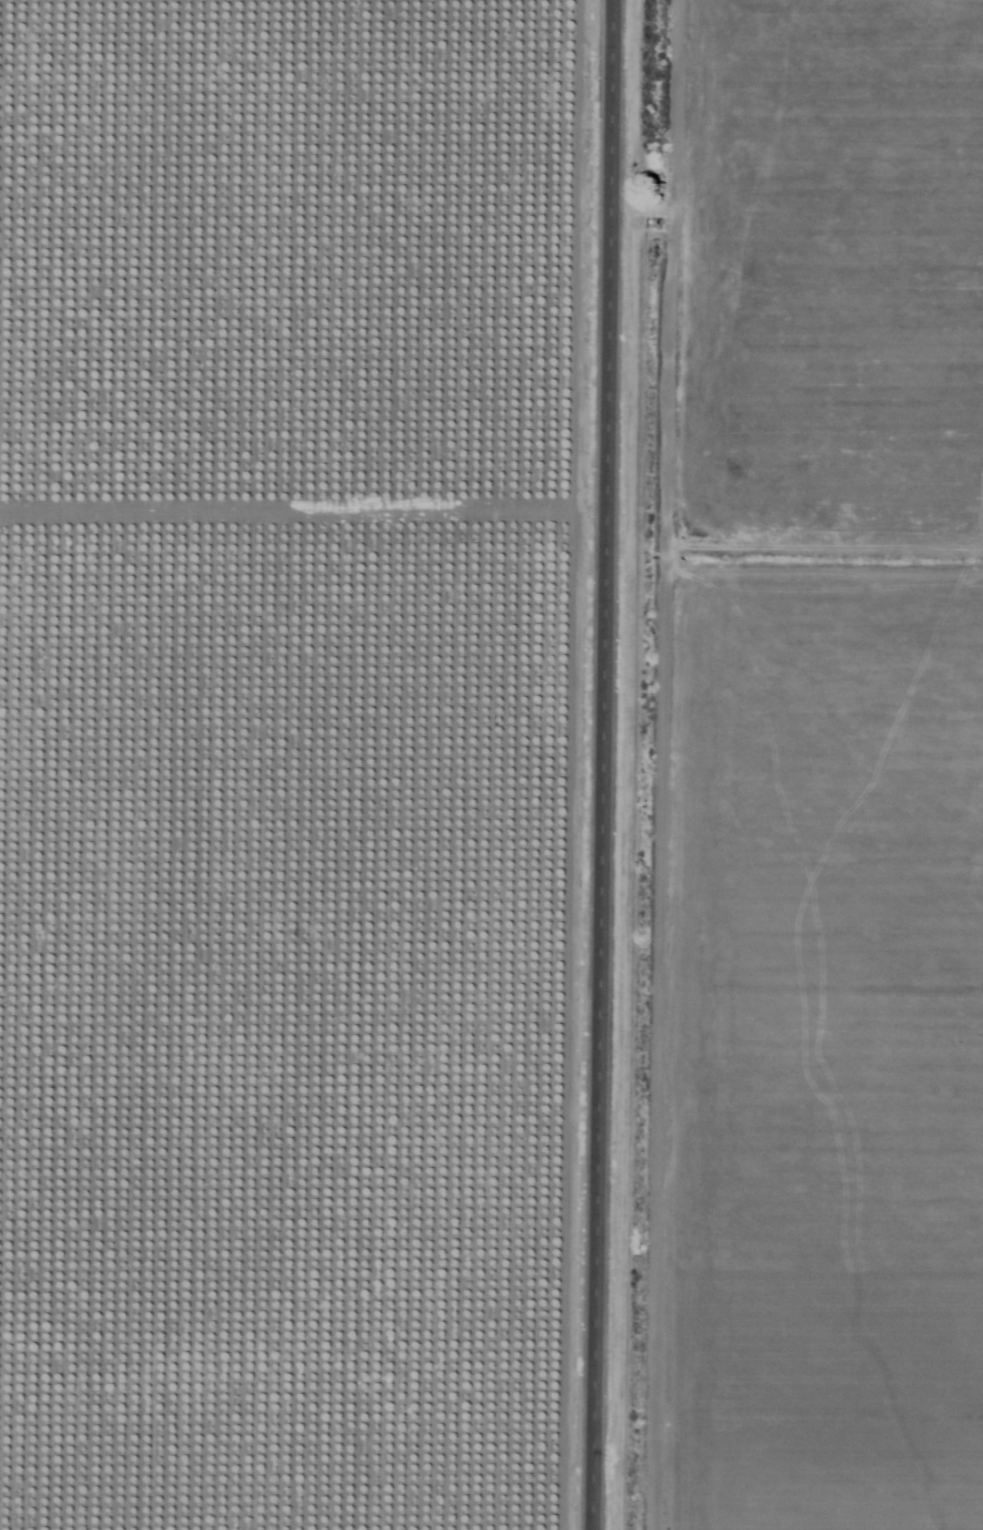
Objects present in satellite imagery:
crop: (294, 760)
road: (604, 765)

